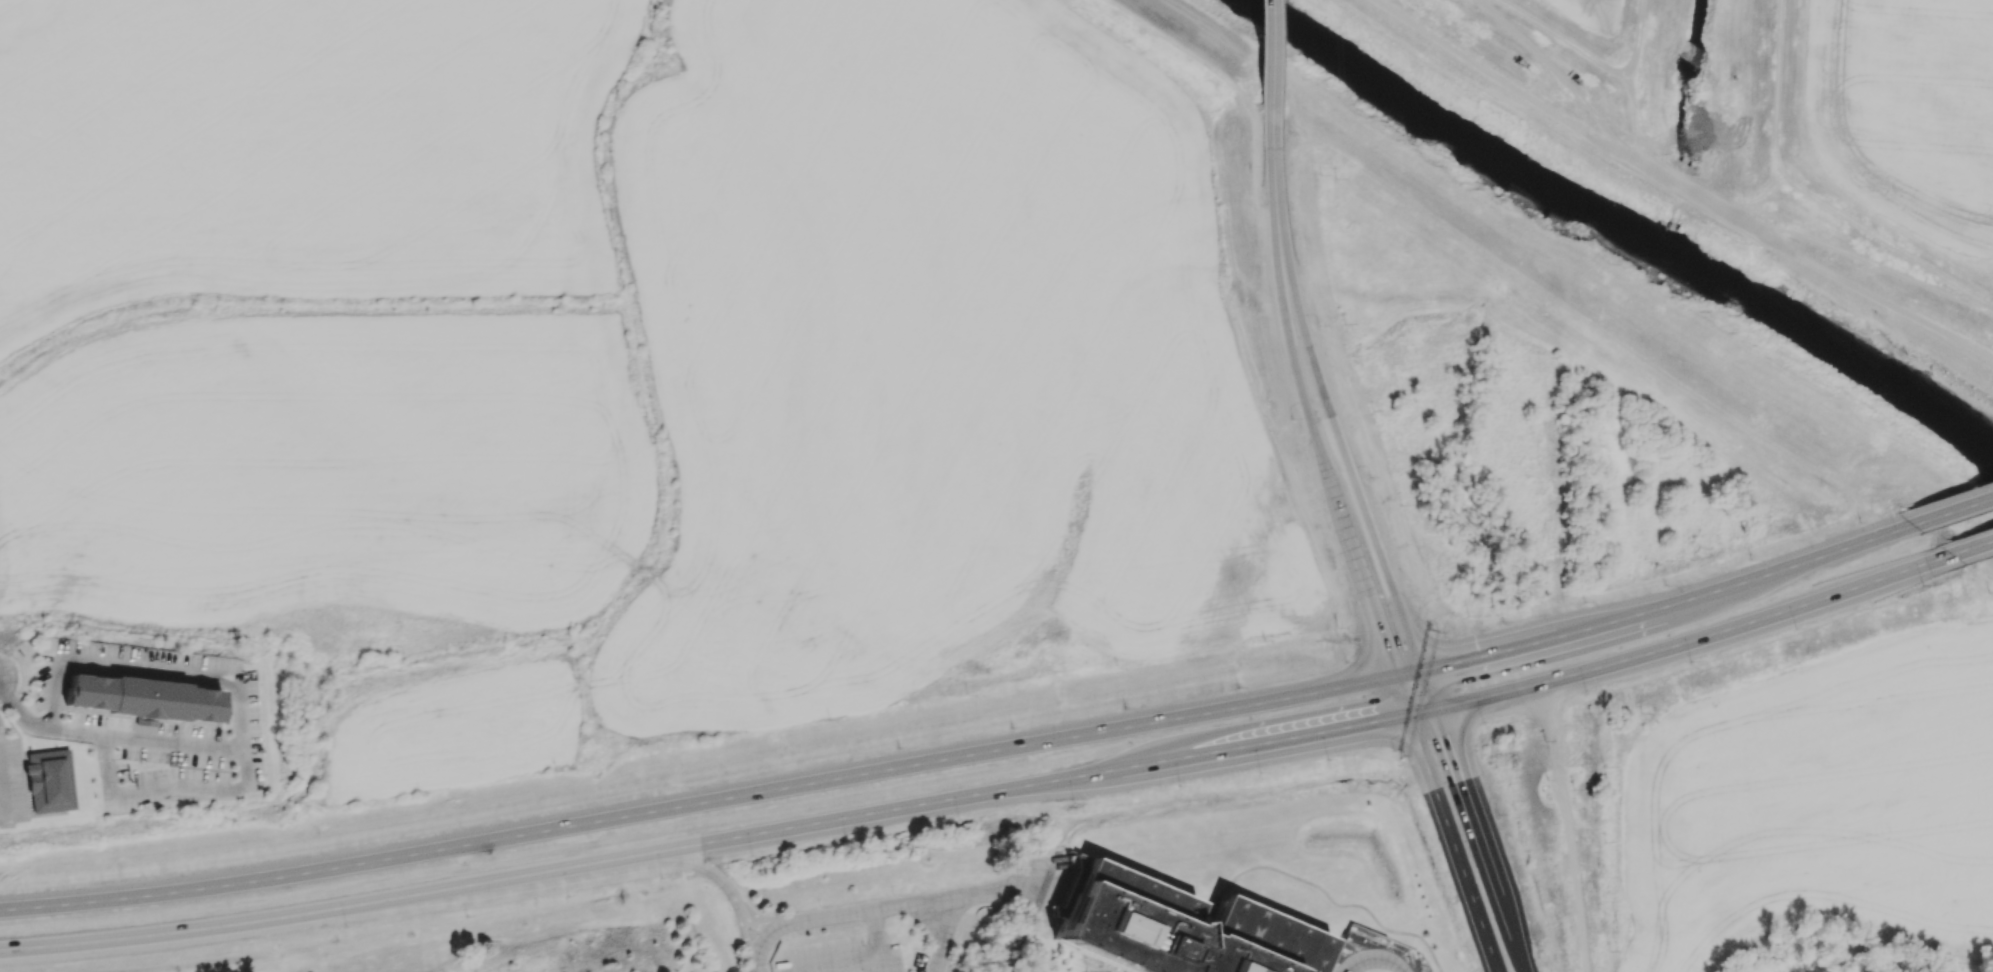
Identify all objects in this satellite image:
crop: (1593, 11)
road: (1150, 30)
road: (1562, 40)
road: (1266, 65)
road: (1563, 78)
road: (1631, 81)
road: (1507, 83)
road: (1275, 90)
crop: (1907, 109)
river: (1463, 128)
road: (1252, 168)
road: (1694, 195)
road: (1810, 195)
road: (1292, 204)
road: (1273, 209)
road: (1872, 262)
road: (1869, 293)
road: (1614, 340)
river: (1836, 348)
road: (1312, 435)
road: (1886, 459)
road: (1351, 479)
road: (1964, 500)
road: (1957, 507)
road: (1978, 544)
road: (1672, 602)
road: (1378, 626)
road: (1687, 640)
road: (178, 670)
traffic signals: (1418, 671)
traffic signals: (1395, 676)
road: (20, 683)
building: (142, 695)
road: (52, 696)
traffic signals: (1431, 709)
traffic signals: (1407, 713)
road: (14, 729)
road: (1290, 734)
road: (116, 736)
road: (1110, 768)
building: (48, 781)
parking lot: (11, 782)
road: (163, 787)
road: (710, 800)
road: (850, 816)
road: (1471, 821)
road: (1446, 824)
road: (1569, 826)
road: (1025, 875)
road: (569, 877)
road: (448, 888)
road: (1317, 888)
road: (1027, 892)
road: (974, 893)
road: (912, 903)
road: (819, 917)
road: (927, 919)
road: (947, 922)
road: (750, 924)
road: (875, 930)
building: (1175, 930)
road: (743, 932)
road: (121, 937)
road: (757, 949)
road: (859, 955)
parking lot: (840, 956)
road: (1372, 958)
road: (936, 959)
road: (815, 962)
road: (880, 962)
road: (840, 965)
road: (1964, 966)

